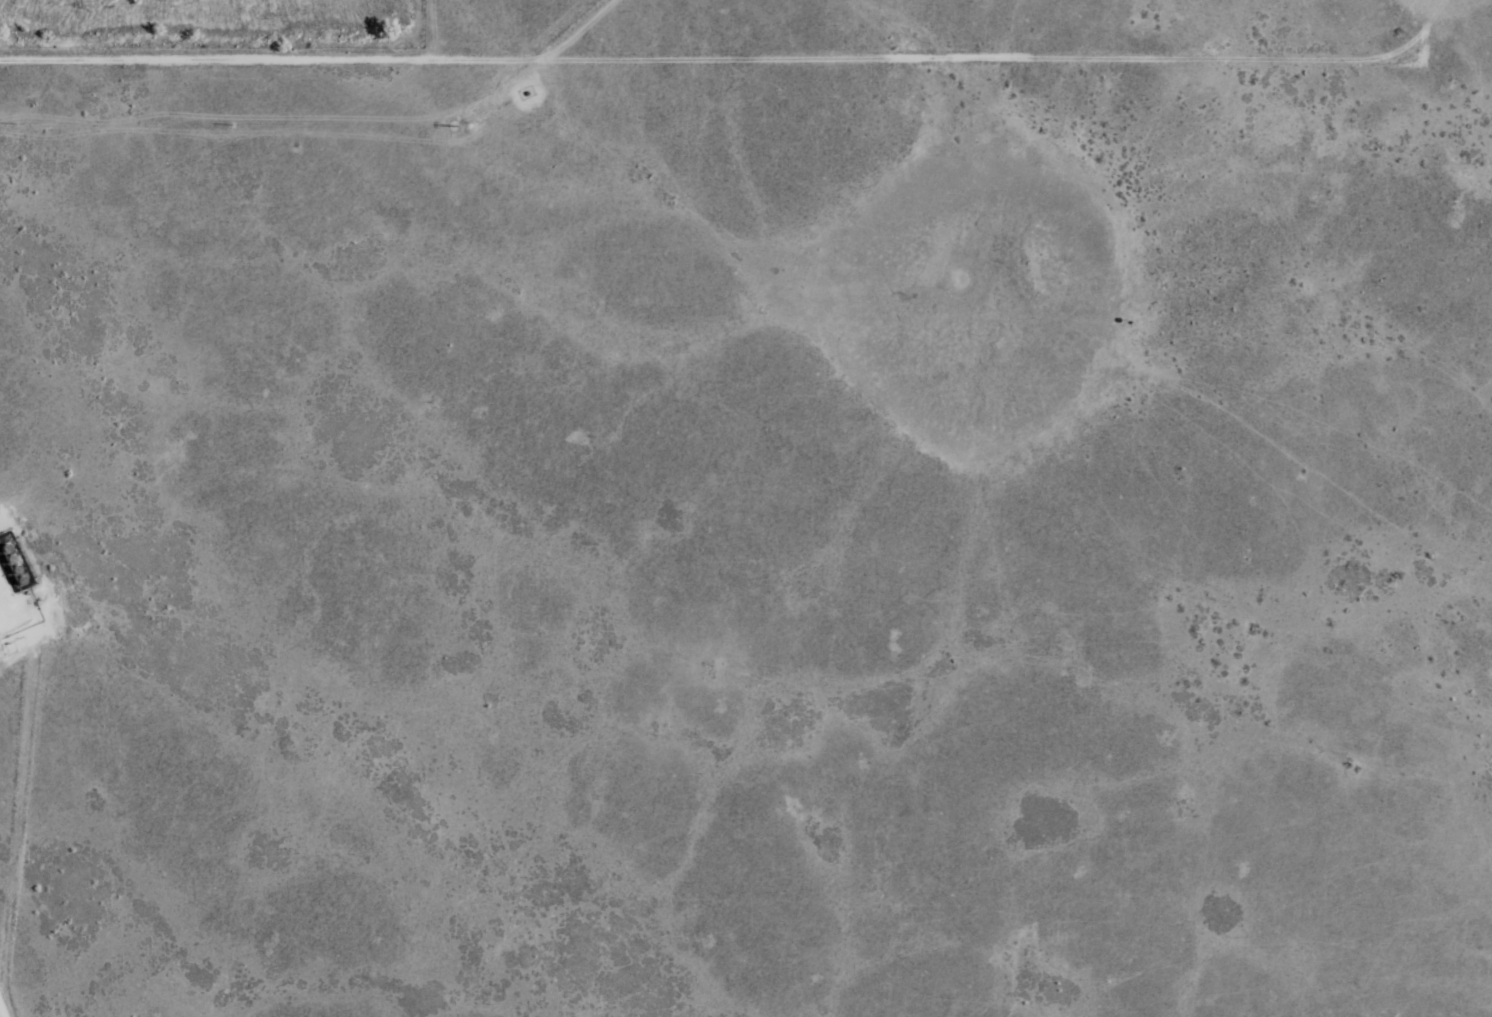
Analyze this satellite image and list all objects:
road: (282, 65)
road: (7, 997)

